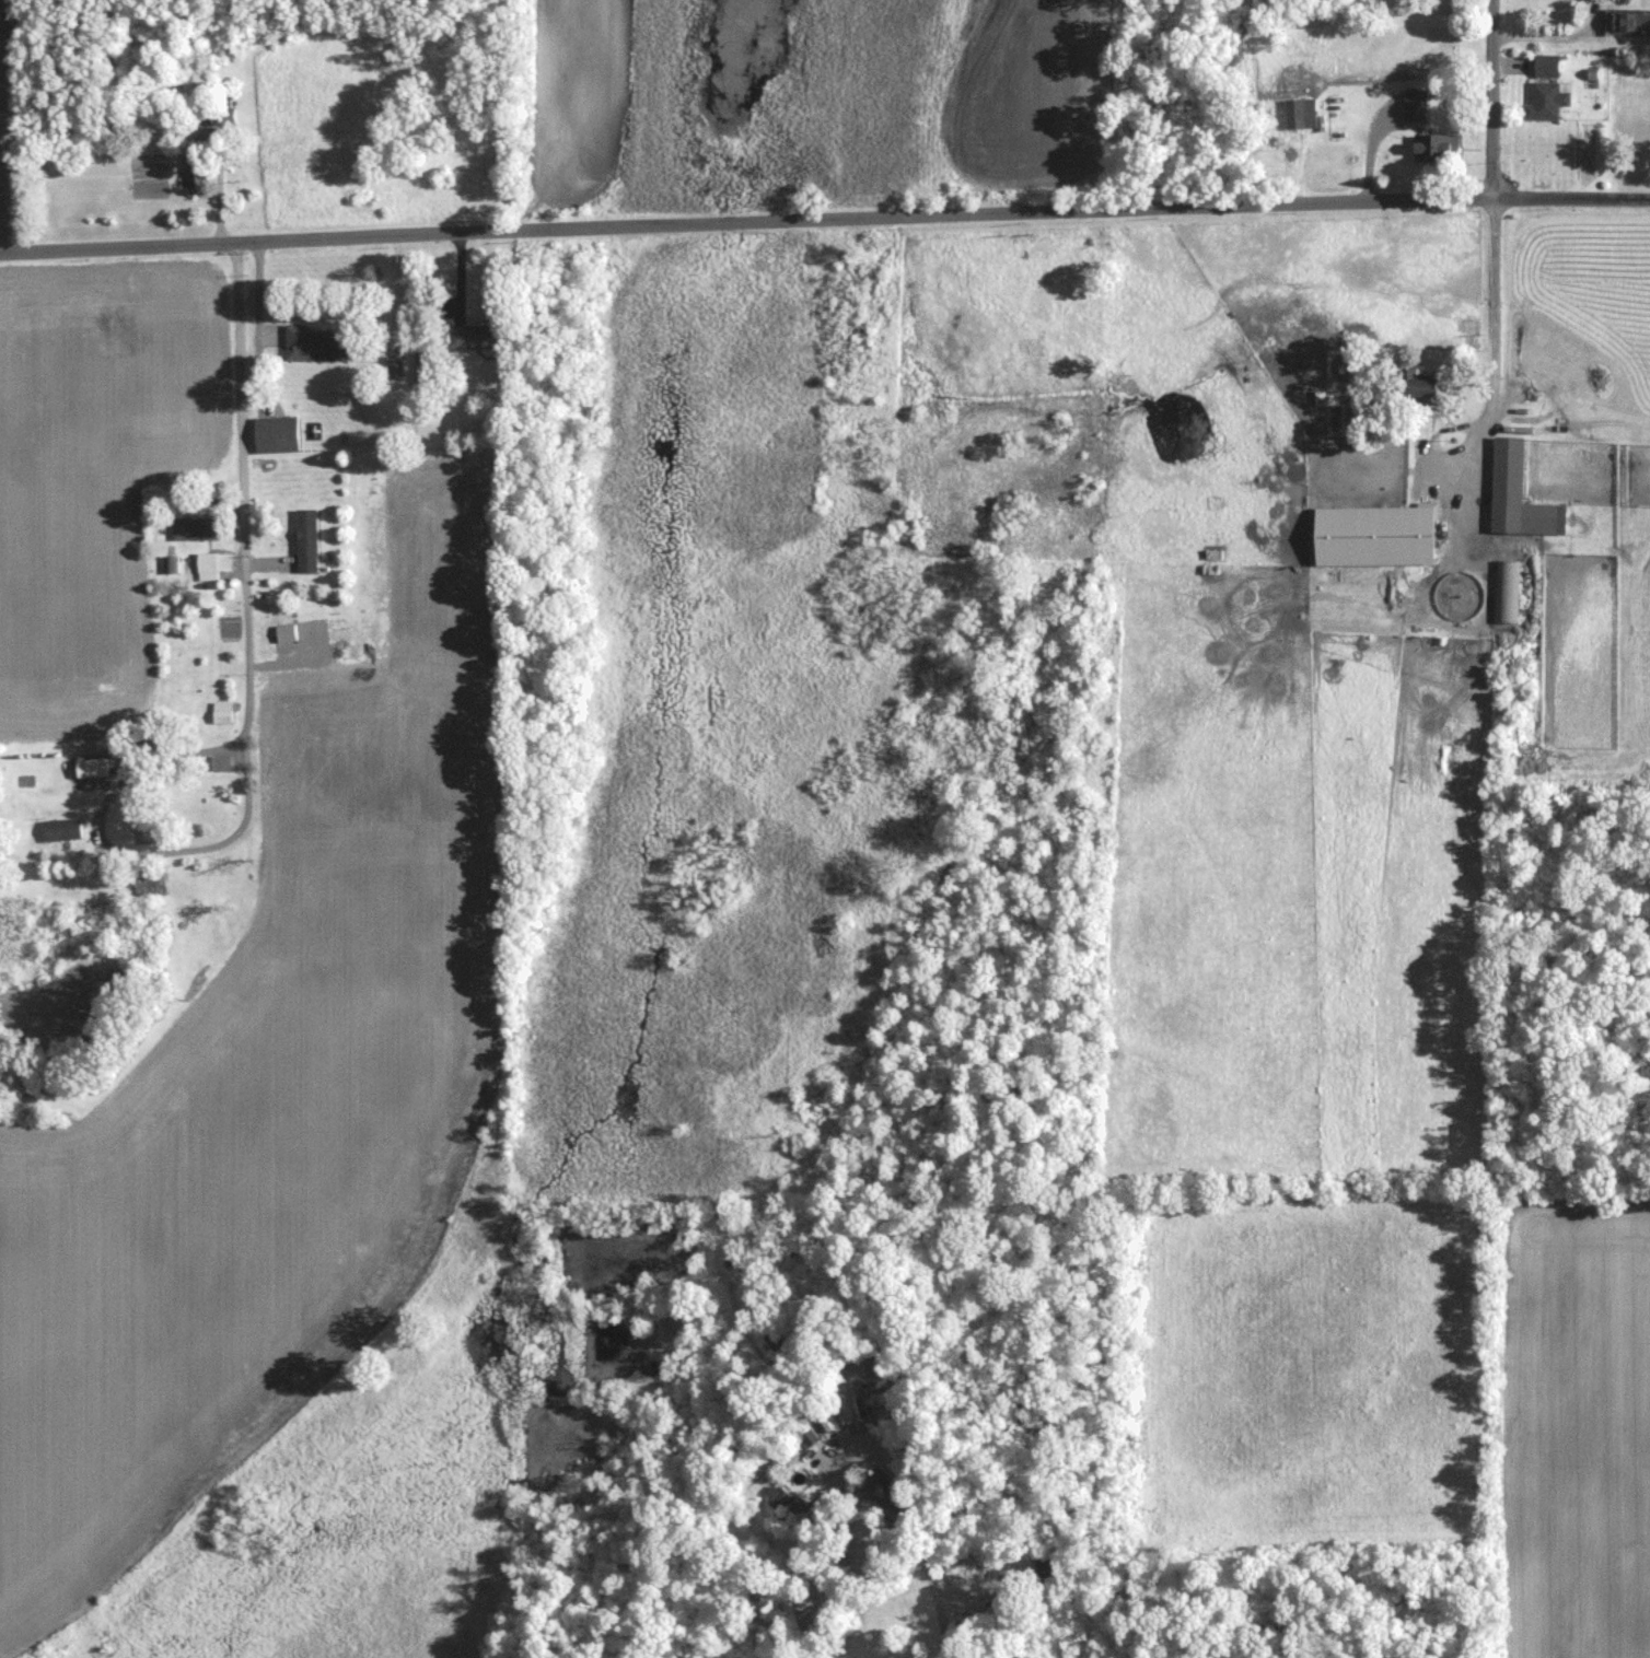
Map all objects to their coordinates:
building: (1632, 23)
road: (1555, 36)
building: (1547, 66)
building: (194, 82)
road: (1495, 98)
building: (1548, 100)
building: (1416, 105)
building: (1301, 113)
building: (223, 115)
building: (1438, 147)
building: (198, 172)
road: (1576, 197)
road: (750, 221)
building: (475, 337)
building: (313, 345)
road: (1500, 353)
building: (426, 373)
building: (1421, 390)
building: (277, 433)
building: (1520, 495)
road: (245, 497)
building: (194, 528)
building: (1376, 535)
building: (306, 540)
building: (207, 565)
building: (1507, 584)
building: (221, 712)
building: (91, 768)
road: (123, 785)
building: (62, 829)
building: (150, 880)
building: (787, 1505)
building: (1051, 1568)

